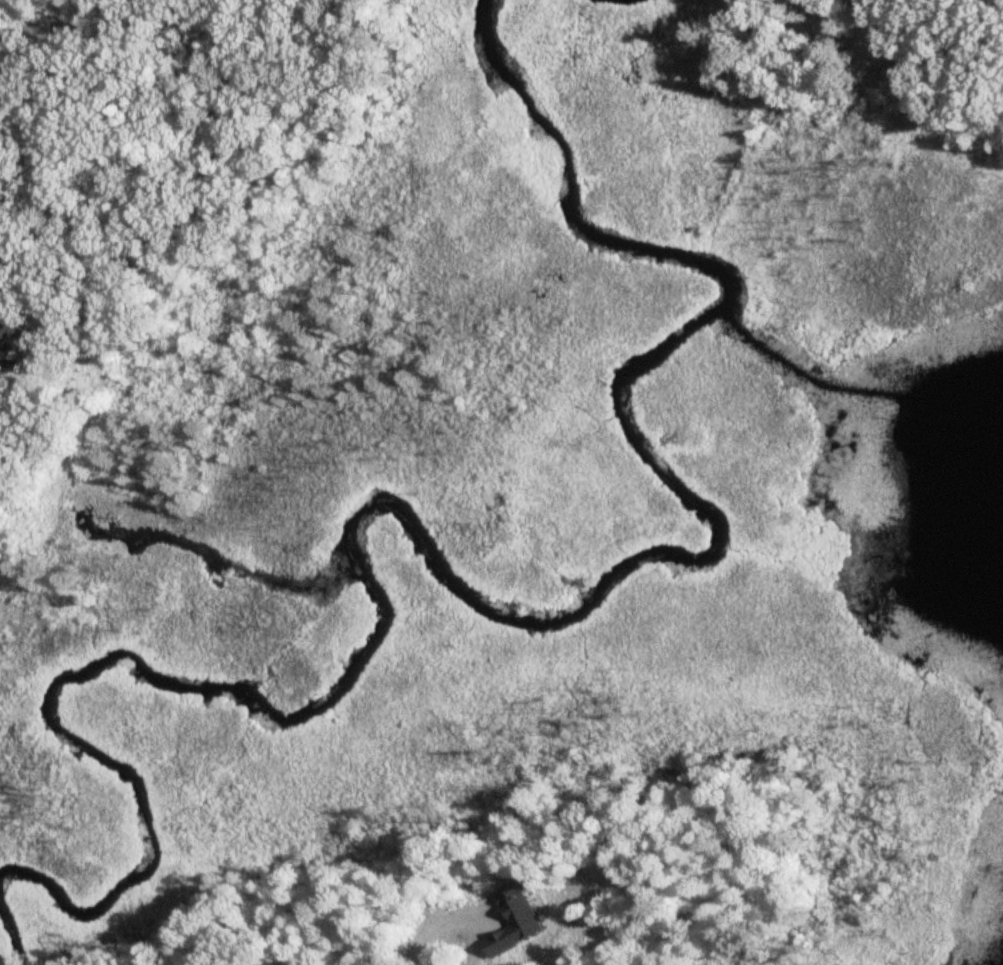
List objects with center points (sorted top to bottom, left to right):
building: (863, 4)
building: (11, 347)
building: (520, 920)
road: (446, 944)

